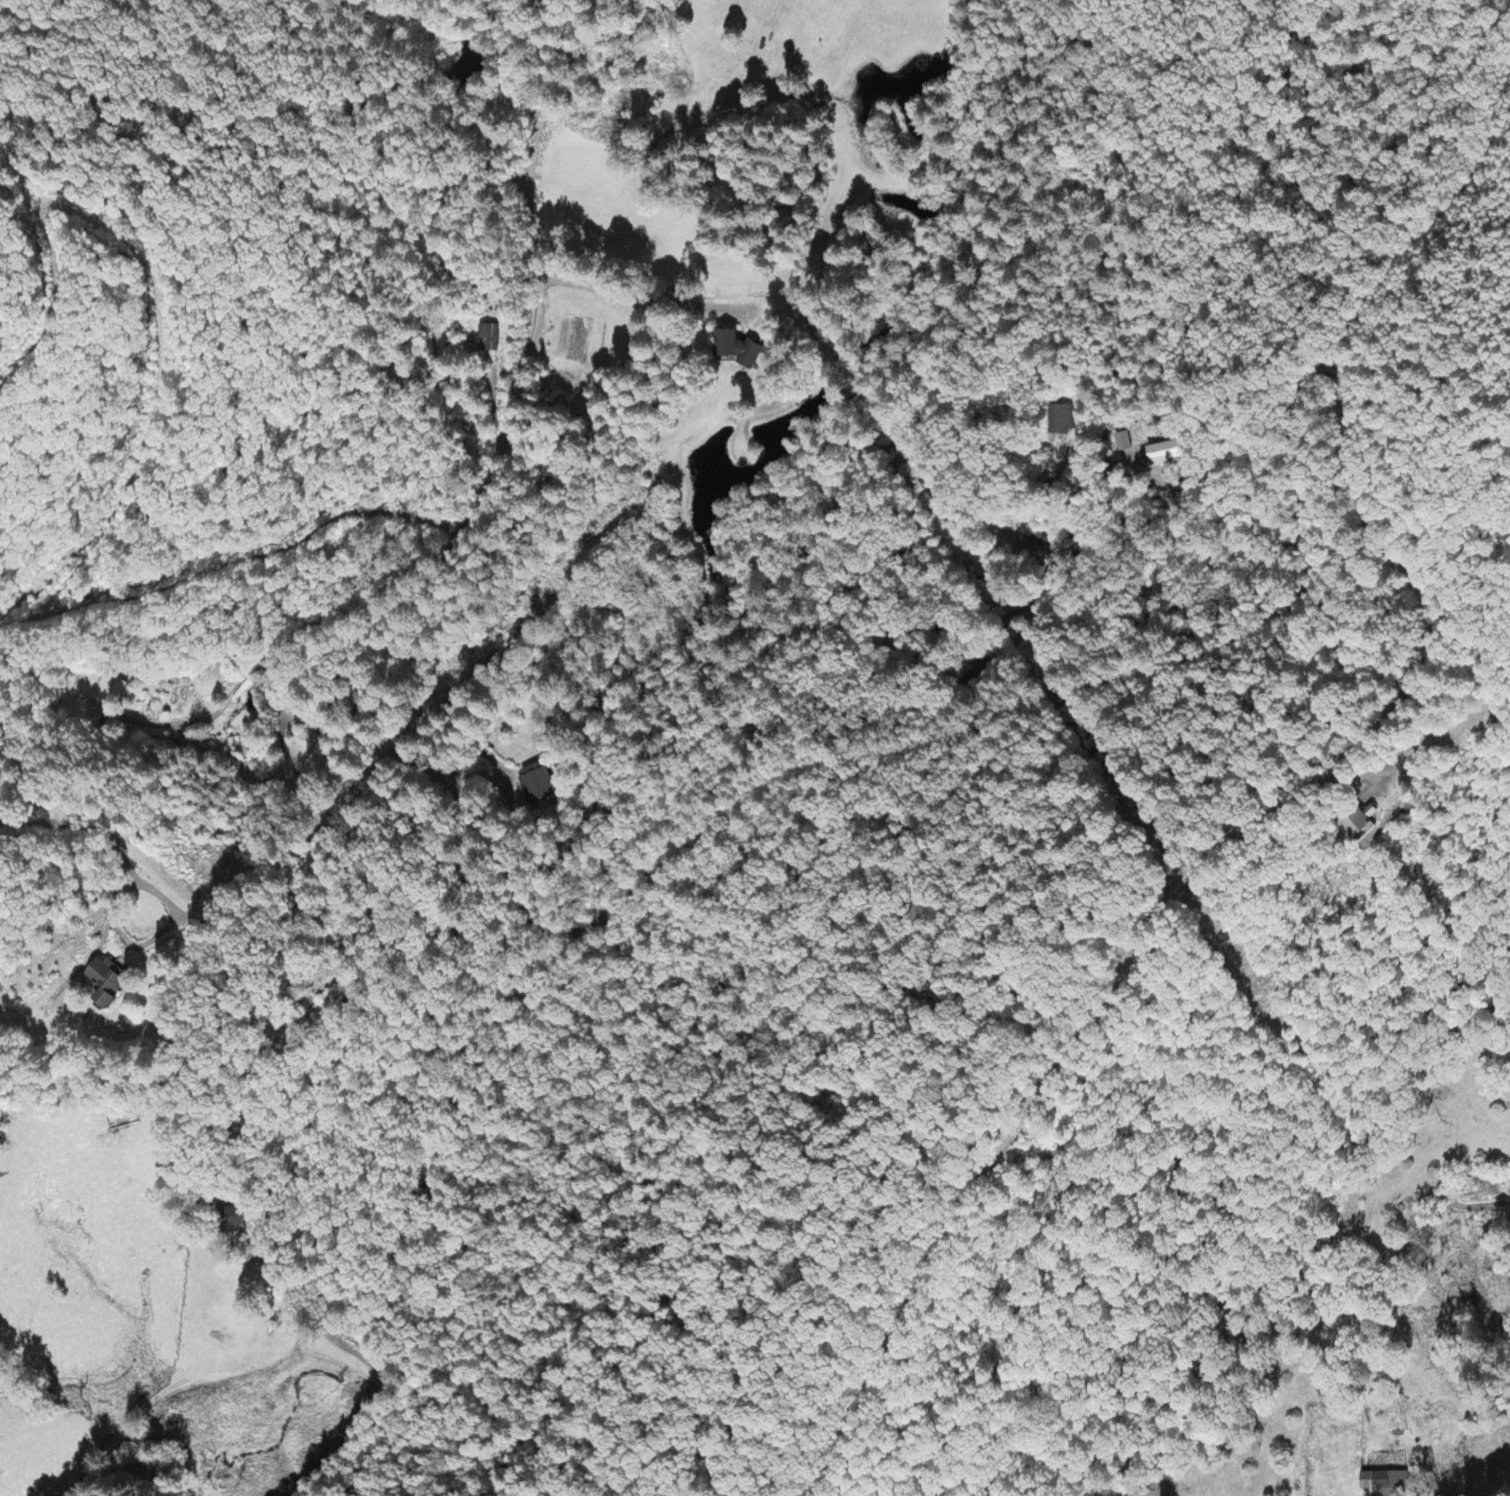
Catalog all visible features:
road: (1389, 258)
building: (489, 339)
building: (741, 351)
road: (471, 355)
road: (1162, 428)
building: (1167, 455)
road: (1401, 614)
road: (823, 652)
building: (538, 785)
road: (780, 796)
building: (110, 983)
road: (448, 995)
road: (1018, 1102)
building: (237, 1219)
building: (1386, 1482)

